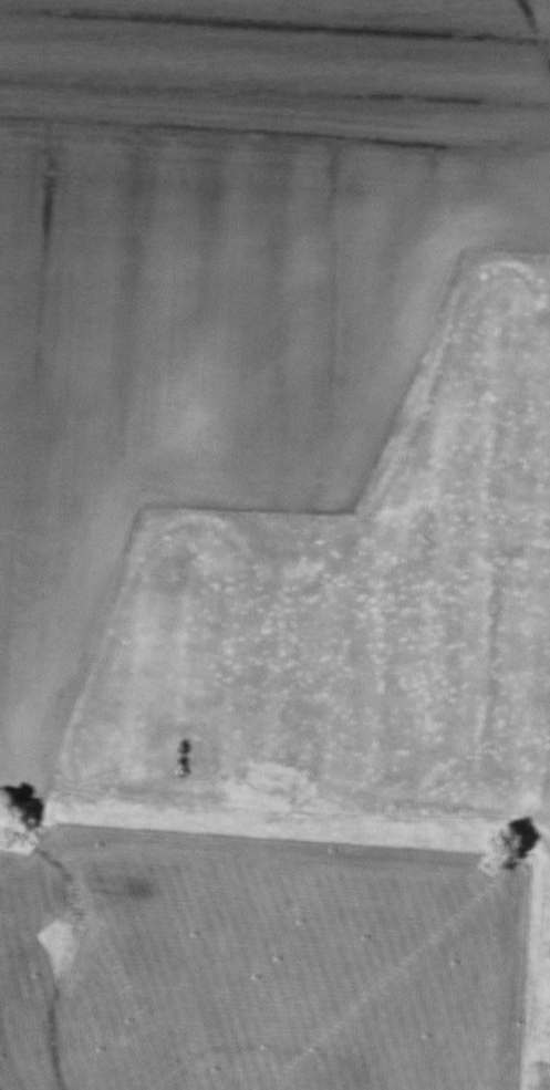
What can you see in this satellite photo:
crop: (227, 273)

